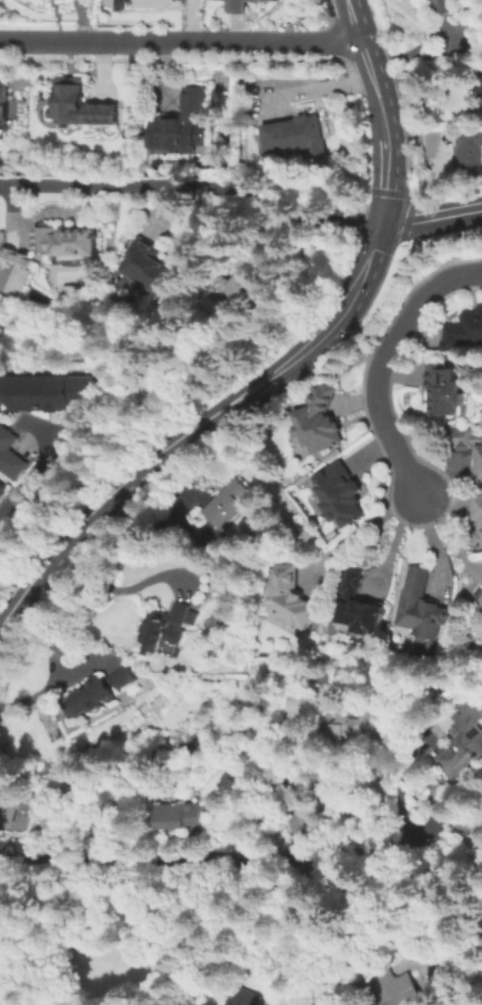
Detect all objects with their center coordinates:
building: (256, 0)
building: (265, 0)
building: (141, 3)
building: (441, 5)
building: (236, 6)
road: (181, 40)
road: (373, 68)
building: (481, 82)
building: (81, 100)
building: (2, 116)
building: (180, 121)
building: (296, 132)
building: (465, 148)
road: (384, 184)
road: (192, 186)
road: (9, 193)
road: (430, 217)
traffic signals: (378, 227)
building: (66, 236)
building: (156, 267)
building: (12, 269)
building: (243, 286)
building: (463, 329)
road: (382, 362)
building: (443, 388)
building: (44, 390)
building: (322, 418)
road: (195, 428)
road: (40, 429)
building: (466, 444)
building: (10, 452)
road: (42, 462)
building: (2, 488)
building: (338, 492)
building: (227, 503)
building: (478, 521)
road: (358, 525)
road: (449, 536)
road: (387, 539)
road: (114, 589)
building: (293, 597)
building: (355, 603)
building: (420, 606)
building: (479, 624)
building: (167, 625)
building: (169, 647)
building: (101, 691)
road: (37, 694)
building: (294, 705)
building: (346, 724)
building: (460, 744)
building: (10, 806)
building: (176, 814)
road: (218, 853)
building: (402, 991)
building: (246, 996)
building: (421, 1004)

